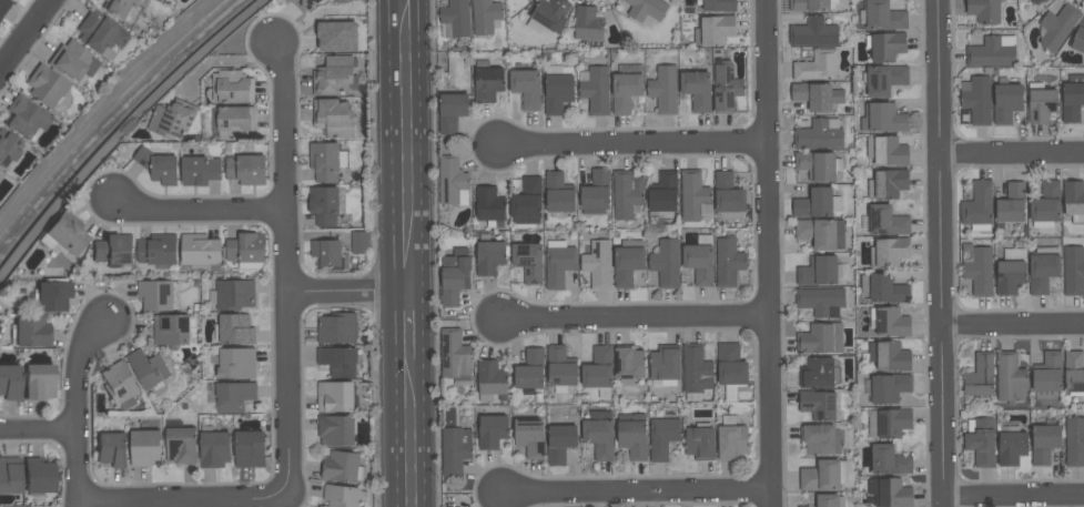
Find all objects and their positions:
building: (343, 1)
building: (1034, 1)
building: (305, 4)
building: (811, 4)
building: (3, 6)
building: (718, 7)
building: (120, 8)
building: (645, 10)
building: (984, 11)
building: (551, 14)
building: (486, 17)
building: (884, 17)
building: (457, 18)
building: (588, 24)
building: (1057, 27)
building: (717, 32)
building: (813, 32)
building: (101, 34)
building: (336, 37)
road: (27, 38)
building: (1078, 40)
building: (885, 45)
building: (992, 51)
building: (72, 62)
building: (817, 67)
building: (333, 75)
building: (884, 79)
building: (487, 82)
building: (44, 87)
building: (232, 87)
building: (526, 88)
building: (626, 88)
building: (726, 88)
building: (595, 89)
building: (697, 89)
building: (666, 91)
building: (558, 92)
building: (813, 97)
building: (1072, 98)
building: (976, 99)
building: (1005, 101)
building: (1041, 103)
building: (452, 112)
building: (24, 118)
building: (333, 118)
building: (883, 118)
building: (172, 120)
building: (234, 122)
building: (819, 135)
road: (632, 145)
road: (418, 146)
building: (8, 149)
building: (887, 151)
road: (1012, 155)
building: (326, 161)
building: (818, 165)
building: (158, 166)
building: (246, 169)
building: (200, 171)
building: (452, 181)
building: (888, 184)
building: (596, 191)
building: (558, 193)
building: (728, 193)
building: (627, 195)
building: (662, 195)
building: (695, 196)
building: (1074, 201)
building: (527, 202)
building: (817, 203)
building: (1011, 204)
building: (324, 205)
building: (1045, 205)
building: (489, 206)
building: (977, 206)
road: (199, 213)
building: (887, 221)
building: (821, 233)
building: (64, 234)
building: (359, 243)
building: (113, 250)
building: (158, 250)
building: (200, 250)
building: (246, 251)
building: (889, 252)
building: (326, 253)
road: (389, 253)
road: (767, 253)
road: (942, 253)
building: (489, 257)
building: (699, 260)
building: (528, 261)
building: (728, 261)
building: (628, 262)
building: (558, 263)
building: (665, 263)
building: (598, 264)
building: (1043, 268)
building: (820, 271)
building: (1011, 271)
building: (1073, 271)
building: (979, 272)
road: (288, 276)
building: (455, 276)
building: (883, 288)
building: (158, 294)
road: (354, 294)
building: (232, 295)
building: (52, 296)
building: (821, 302)
road: (631, 317)
building: (890, 322)
building: (336, 328)
road: (1013, 328)
building: (233, 329)
building: (171, 331)
building: (29, 332)
building: (821, 338)
building: (890, 356)
building: (455, 357)
building: (338, 361)
building: (236, 364)
building: (628, 365)
building: (665, 365)
building: (148, 369)
building: (529, 369)
building: (560, 369)
building: (730, 369)
building: (599, 372)
building: (696, 372)
building: (818, 373)
building: (1073, 373)
building: (980, 375)
building: (1047, 375)
building: (1010, 378)
building: (490, 379)
building: (9, 382)
building: (38, 382)
building: (119, 385)
building: (890, 387)
building: (234, 396)
building: (335, 396)
road: (422, 399)
building: (818, 404)
road: (78, 407)
building: (888, 423)
road: (38, 430)
building: (335, 430)
building: (492, 432)
building: (599, 435)
building: (530, 437)
building: (662, 438)
building: (731, 438)
building: (819, 438)
building: (632, 439)
building: (700, 442)
building: (981, 442)
building: (1075, 442)
building: (560, 443)
building: (180, 444)
building: (1043, 444)
building: (144, 447)
building: (214, 447)
building: (1011, 447)
building: (112, 448)
building: (250, 449)
building: (455, 450)
building: (889, 460)
building: (342, 467)
building: (10, 475)
building: (823, 475)
building: (38, 476)
road: (636, 490)
building: (889, 493)
building: (341, 496)
road: (1014, 498)
building: (829, 500)
road: (169, 501)
road: (73, 505)

